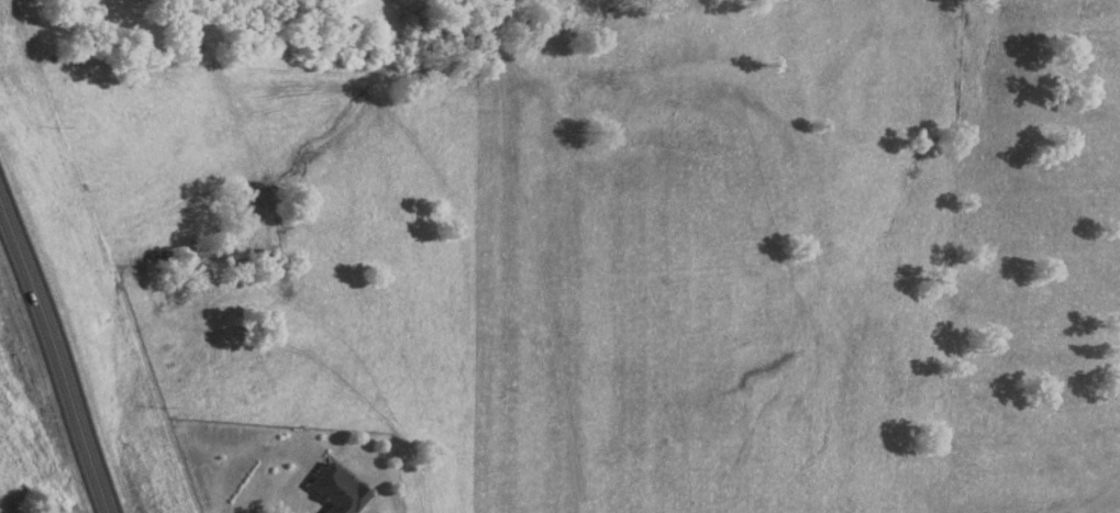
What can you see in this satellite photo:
road: (51, 370)
building: (339, 491)

